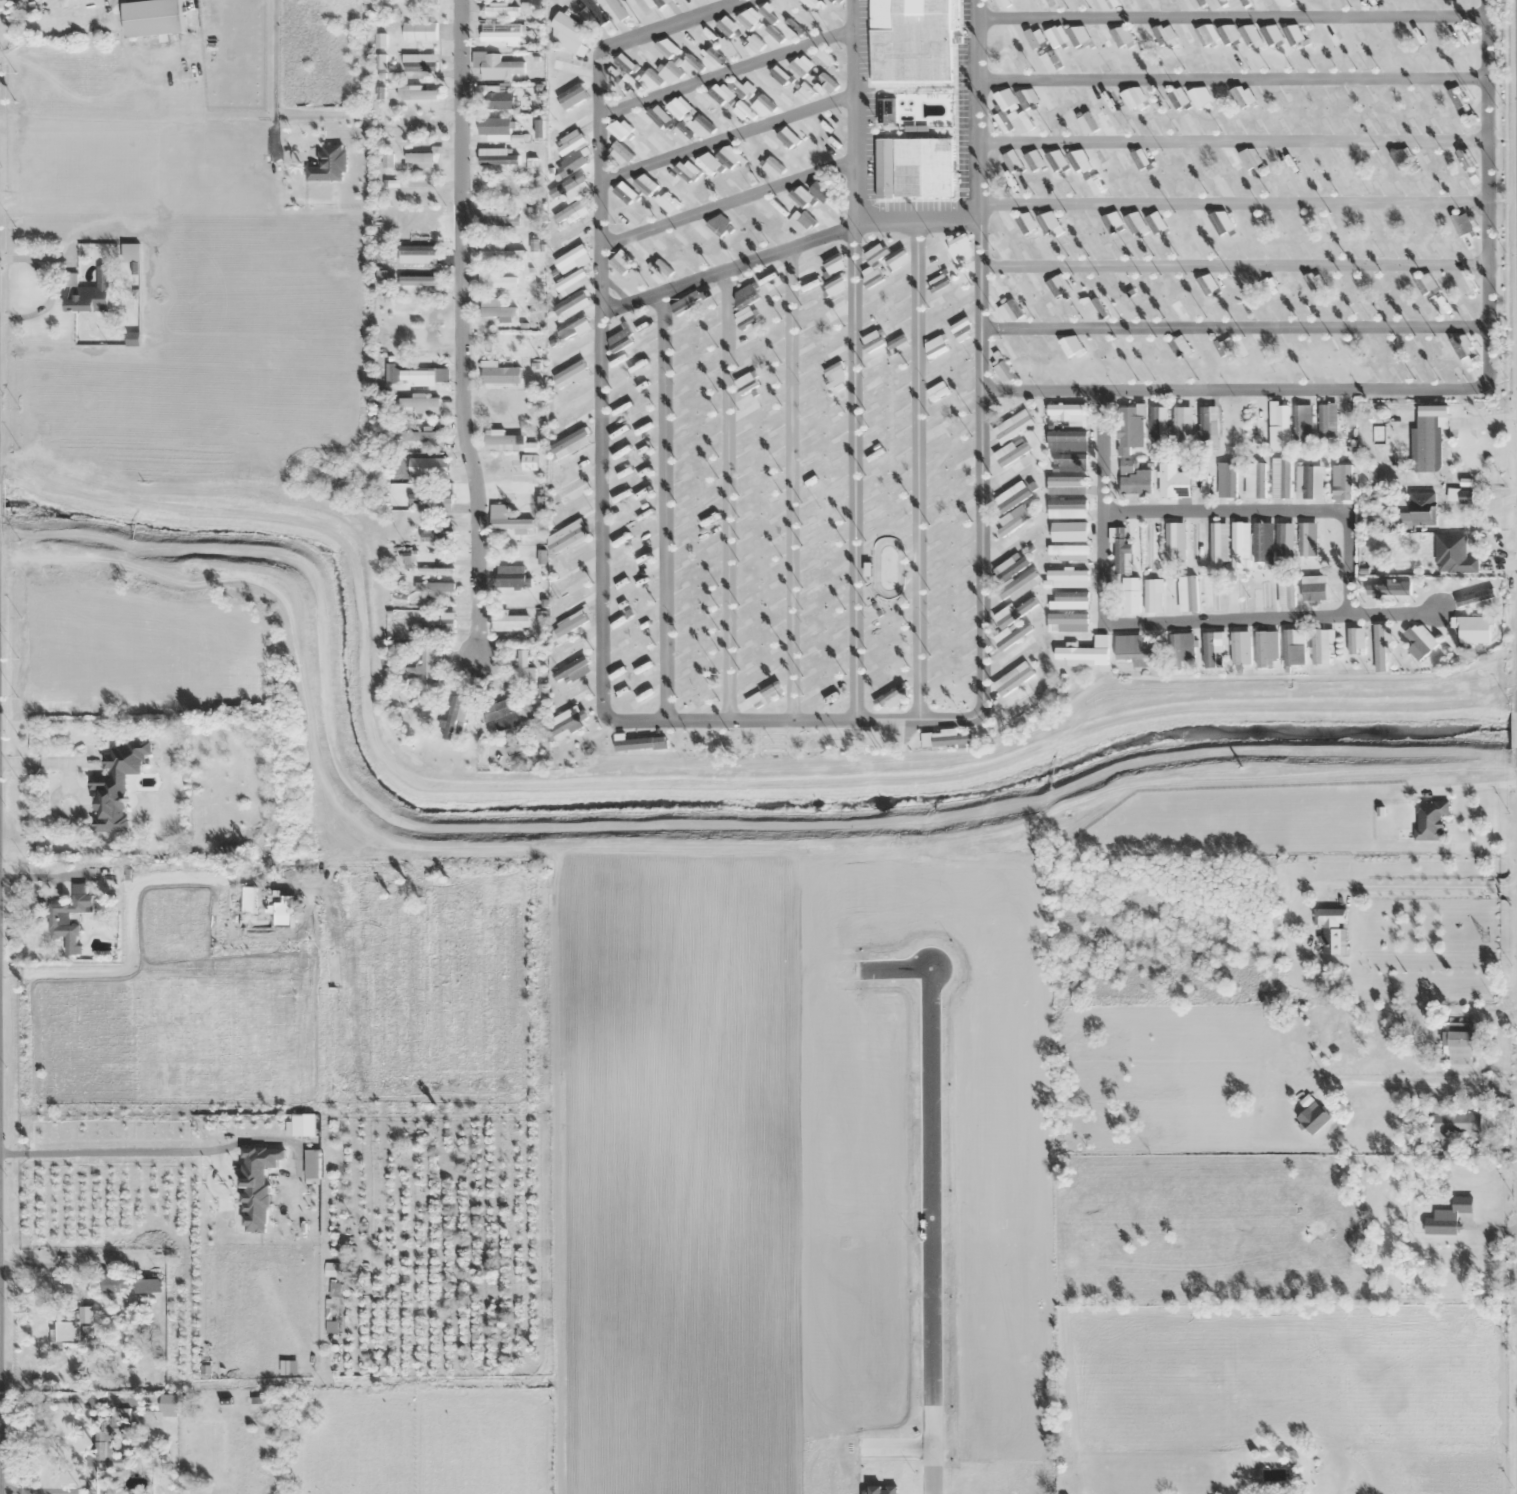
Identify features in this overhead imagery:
building: (58, 0)
building: (660, 3)
building: (813, 3)
building: (1045, 3)
building: (1153, 3)
building: (1282, 3)
building: (1003, 4)
building: (1107, 4)
building: (1132, 4)
building: (1193, 4)
building: (1225, 4)
building: (1258, 4)
building: (639, 5)
building: (790, 7)
building: (500, 10)
building: (592, 14)
road: (1232, 14)
building: (152, 17)
building: (748, 20)
road: (673, 24)
building: (726, 26)
building: (794, 29)
building: (419, 31)
building: (501, 32)
building: (569, 32)
building: (706, 33)
building: (1227, 33)
building: (1272, 33)
building: (1099, 34)
building: (1141, 34)
building: (1293, 34)
building: (1172, 35)
building: (1249, 35)
building: (1056, 36)
building: (1081, 36)
building: (1203, 36)
building: (1030, 37)
building: (1121, 37)
building: (772, 38)
building: (911, 41)
building: (686, 42)
building: (752, 45)
building: (666, 47)
building: (714, 57)
building: (820, 59)
building: (418, 62)
building: (563, 62)
building: (1050, 62)
building: (495, 66)
building: (798, 67)
road: (727, 71)
building: (668, 74)
building: (778, 74)
road: (1232, 78)
building: (648, 81)
building: (823, 86)
building: (746, 87)
building: (721, 91)
building: (414, 92)
building: (804, 92)
building: (571, 96)
building: (1241, 96)
building: (782, 97)
building: (1177, 97)
building: (1004, 98)
building: (1027, 98)
building: (1085, 98)
building: (1110, 98)
building: (1134, 98)
building: (498, 99)
building: (703, 99)
building: (1155, 99)
building: (1198, 99)
building: (681, 105)
building: (763, 106)
building: (742, 112)
building: (638, 120)
building: (1020, 123)
building: (1107, 123)
building: (1084, 124)
building: (494, 126)
building: (700, 127)
building: (618, 130)
building: (571, 131)
road: (728, 136)
building: (787, 137)
building: (659, 140)
road: (1233, 142)
building: (641, 146)
building: (619, 154)
building: (732, 155)
building: (496, 157)
building: (1401, 157)
building: (1465, 157)
building: (1077, 158)
building: (1228, 158)
building: (1250, 158)
building: (1356, 158)
building: (1056, 159)
building: (1119, 159)
building: (1140, 159)
building: (1033, 160)
building: (1096, 160)
building: (385, 161)
building: (419, 161)
building: (1204, 161)
building: (707, 163)
building: (328, 164)
building: (570, 164)
building: (531, 165)
building: (772, 167)
building: (913, 168)
building: (686, 170)
building: (665, 176)
building: (645, 185)
building: (1094, 185)
building: (569, 189)
building: (819, 191)
building: (623, 192)
building: (800, 196)
road: (1486, 196)
road: (728, 201)
road: (1233, 201)
building: (666, 203)
building: (568, 213)
building: (822, 214)
building: (499, 217)
building: (627, 219)
building: (1114, 219)
building: (1050, 220)
building: (800, 221)
building: (1220, 222)
building: (1025, 223)
building: (1134, 223)
building: (1156, 223)
building: (1305, 224)
building: (1461, 224)
building: (719, 225)
building: (698, 232)
building: (570, 236)
building: (534, 244)
road: (788, 246)
building: (1001, 248)
building: (960, 249)
building: (1045, 249)
building: (499, 252)
building: (638, 253)
building: (417, 254)
building: (571, 259)
building: (896, 259)
building: (619, 261)
building: (832, 263)
road: (1233, 263)
building: (872, 266)
building: (659, 271)
building: (769, 279)
building: (808, 280)
building: (496, 281)
building: (570, 282)
building: (937, 282)
building: (1425, 283)
building: (417, 284)
building: (1031, 284)
building: (1207, 284)
building: (1464, 284)
building: (834, 285)
building: (1057, 285)
building: (88, 293)
building: (690, 300)
building: (744, 304)
building: (1438, 304)
building: (571, 305)
building: (937, 306)
building: (835, 308)
building: (495, 309)
building: (1008, 309)
building: (1180, 309)
building: (1094, 310)
road: (460, 326)
building: (573, 327)
building: (959, 328)
road: (1233, 328)
building: (629, 333)
building: (745, 341)
building: (871, 341)
building: (897, 344)
building: (1070, 345)
building: (1438, 345)
building: (935, 347)
building: (1180, 347)
building: (1226, 347)
building: (1464, 350)
building: (570, 352)
road: (980, 358)
road: (854, 359)
building: (619, 363)
building: (1003, 373)
building: (415, 374)
building: (834, 374)
building: (501, 375)
building: (570, 375)
road: (601, 380)
building: (746, 382)
building: (936, 391)
road: (1233, 391)
building: (568, 399)
building: (418, 402)
building: (1066, 411)
building: (574, 418)
building: (1327, 420)
building: (1254, 421)
building: (1303, 421)
building: (1158, 424)
building: (1182, 426)
building: (1278, 426)
building: (1131, 427)
building: (1209, 428)
building: (935, 434)
building: (419, 436)
building: (1066, 440)
building: (503, 441)
building: (569, 443)
building: (1428, 443)
building: (529, 462)
building: (1069, 463)
building: (572, 464)
building: (1011, 464)
building: (429, 465)
road: (917, 470)
building: (1134, 478)
building: (1280, 478)
building: (1226, 480)
building: (1172, 481)
building: (1255, 481)
road: (789, 482)
building: (1341, 482)
building: (1308, 483)
building: (1199, 484)
building: (1066, 485)
building: (572, 489)
road: (725, 493)
building: (430, 501)
road: (663, 504)
building: (958, 506)
building: (572, 507)
building: (1066, 508)
building: (1421, 508)
road: (1272, 512)
building: (508, 521)
building: (1068, 531)
building: (568, 535)
building: (435, 537)
building: (1284, 539)
building: (1307, 540)
building: (1174, 542)
building: (1262, 542)
building: (1014, 544)
building: (1196, 544)
building: (1218, 544)
building: (1149, 545)
building: (1239, 545)
building: (1120, 550)
building: (1069, 552)
building: (1453, 554)
building: (435, 572)
building: (571, 573)
building: (512, 577)
building: (1068, 579)
building: (1018, 586)
building: (433, 587)
building: (1313, 588)
building: (1387, 589)
building: (1285, 591)
building: (1210, 593)
building: (1472, 593)
building: (1187, 594)
building: (1130, 595)
building: (1261, 595)
building: (1152, 596)
building: (1070, 600)
building: (508, 621)
building: (1072, 622)
road: (1151, 623)
building: (438, 625)
building: (1474, 629)
building: (1014, 638)
building: (1355, 641)
building: (1419, 641)
building: (1321, 644)
building: (1293, 647)
building: (1211, 648)
building: (1240, 648)
building: (1381, 648)
building: (1180, 649)
building: (1266, 649)
building: (1135, 651)
building: (1085, 654)
building: (523, 669)
building: (572, 671)
building: (1012, 679)
building: (575, 693)
building: (893, 697)
building: (704, 699)
building: (501, 712)
building: (455, 717)
road: (787, 719)
building: (945, 740)
building: (640, 744)
building: (115, 784)
building: (1430, 819)
building: (248, 899)
building: (58, 918)
building: (1331, 929)
building: (1267, 998)
building: (1347, 1035)
building: (1459, 1045)
building: (1312, 1115)
building: (1454, 1124)
crop: (842, 1182)
building: (1450, 1216)
road: (932, 1229)
building: (112, 1285)
building: (145, 1286)
building: (71, 1328)
building: (108, 1448)

